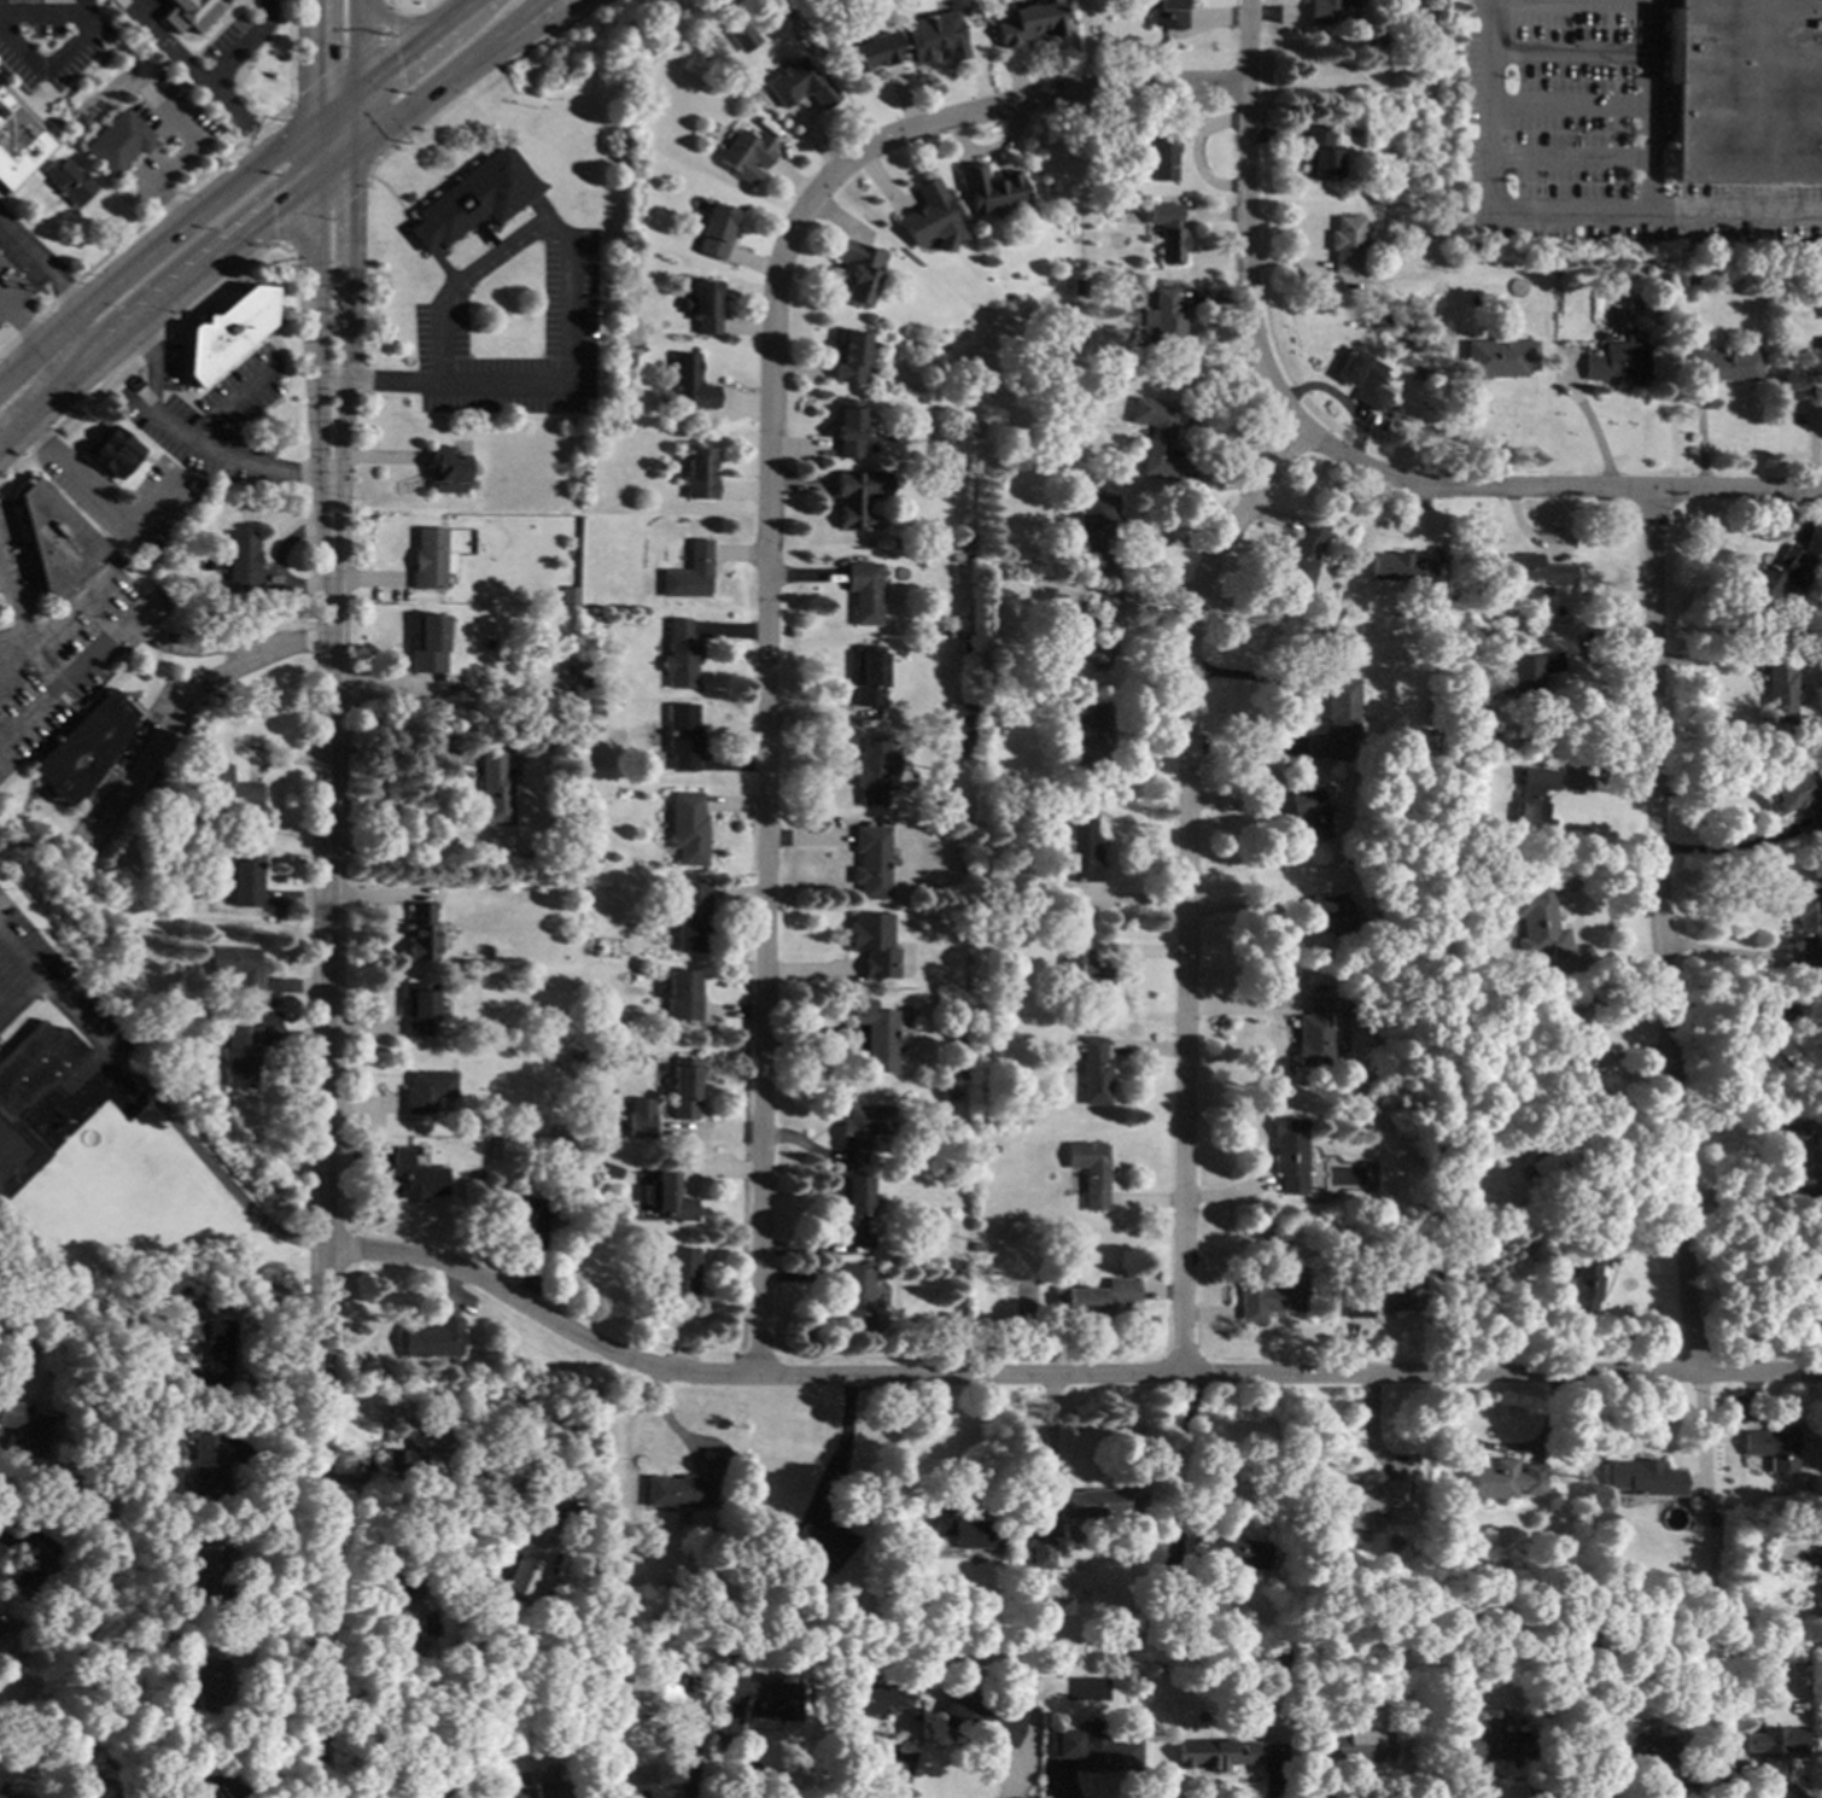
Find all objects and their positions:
road: (78, 6)
building: (1326, 10)
building: (191, 13)
building: (1166, 13)
road: (39, 16)
road: (387, 19)
building: (1027, 23)
road: (415, 24)
road: (508, 29)
road: (529, 33)
building: (742, 36)
building: (935, 36)
building: (1382, 36)
road: (360, 43)
road: (415, 43)
road: (243, 45)
road: (169, 46)
building: (869, 53)
traffic signals: (398, 58)
road: (1566, 58)
road: (311, 60)
road: (48, 62)
road: (334, 71)
road: (1484, 78)
traffic signals: (313, 82)
building: (705, 83)
building: (800, 84)
building: (1745, 92)
road: (346, 98)
road: (358, 101)
road: (413, 104)
road: (1565, 107)
road: (1648, 110)
road: (322, 115)
road: (238, 119)
road: (356, 133)
road: (313, 139)
road: (288, 141)
building: (117, 142)
parking lot: (1604, 142)
building: (17, 144)
building: (1163, 150)
building: (743, 153)
building: (1319, 153)
road: (346, 157)
road: (1565, 158)
road: (369, 163)
road: (313, 168)
road: (325, 173)
building: (69, 180)
building: (1109, 181)
building: (987, 188)
traffic signals: (355, 194)
building: (472, 198)
road: (321, 211)
building: (1026, 211)
traffic signals: (271, 215)
building: (930, 217)
road: (1620, 221)
road: (1246, 222)
building: (1166, 229)
building: (712, 230)
building: (1345, 243)
building: (1652, 261)
road: (40, 268)
road: (129, 269)
building: (857, 270)
building: (1688, 276)
building: (1076, 282)
building: (1659, 291)
building: (1633, 304)
building: (700, 305)
road: (152, 311)
road: (563, 315)
building: (1162, 316)
road: (19, 328)
building: (224, 332)
building: (1698, 341)
road: (273, 343)
road: (348, 350)
road: (134, 352)
building: (848, 356)
building: (1497, 356)
building: (1618, 362)
building: (1725, 363)
building: (1814, 364)
road: (313, 366)
building: (1362, 378)
building: (683, 384)
road: (232, 398)
building: (847, 427)
road: (187, 438)
building: (1155, 438)
building: (111, 450)
building: (443, 469)
building: (697, 472)
road: (1557, 490)
road: (98, 494)
building: (857, 496)
building: (1092, 527)
building: (54, 538)
road: (769, 553)
building: (1302, 554)
building: (427, 559)
building: (241, 561)
building: (1401, 567)
building: (1537, 568)
building: (688, 572)
building: (1777, 576)
building: (864, 591)
building: (568, 594)
building: (1325, 626)
road: (151, 631)
building: (1098, 631)
road: (23, 635)
building: (426, 643)
building: (964, 647)
building: (679, 653)
building: (565, 670)
building: (1529, 675)
building: (868, 676)
building: (586, 683)
building: (1777, 688)
building: (988, 708)
building: (958, 714)
road: (1295, 717)
building: (1336, 719)
building: (1091, 734)
road: (154, 735)
building: (682, 735)
building: (1448, 739)
building: (1430, 740)
building: (958, 743)
building: (82, 747)
road: (395, 761)
building: (875, 769)
building: (495, 783)
building: (227, 788)
road: (1729, 794)
building: (1799, 794)
building: (1531, 799)
building: (1308, 811)
building: (685, 827)
building: (1481, 836)
building: (1384, 840)
building: (1080, 850)
road: (1729, 852)
building: (871, 860)
building: (964, 860)
building: (979, 868)
building: (245, 878)
building: (582, 882)
building: (1390, 882)
road: (1187, 887)
road: (325, 900)
building: (1332, 912)
building: (689, 915)
building: (958, 917)
building: (982, 922)
building: (1537, 922)
building: (1806, 924)
building: (420, 932)
road: (1660, 932)
building: (874, 942)
building: (518, 951)
road: (21, 963)
building: (236, 964)
building: (1082, 964)
building: (633, 976)
building: (1377, 993)
building: (681, 994)
road: (54, 1002)
building: (419, 1008)
building: (605, 1033)
building: (877, 1033)
building: (1312, 1033)
building: (1564, 1038)
building: (1800, 1046)
building: (240, 1055)
building: (1093, 1070)
building: (962, 1072)
building: (683, 1087)
building: (426, 1090)
building: (940, 1093)
building: (28, 1097)
building: (586, 1115)
building: (638, 1119)
building: (864, 1123)
building: (1425, 1138)
building: (992, 1148)
building: (1557, 1148)
building: (1289, 1152)
building: (1801, 1158)
road: (206, 1166)
building: (611, 1169)
building: (1090, 1171)
building: (415, 1175)
building: (666, 1196)
building: (853, 1202)
building: (521, 1212)
building: (561, 1215)
building: (1265, 1226)
building: (1429, 1238)
building: (976, 1247)
building: (954, 1263)
building: (677, 1271)
building: (1583, 1280)
building: (1806, 1280)
building: (1382, 1291)
building: (1271, 1294)
building: (855, 1295)
building: (1099, 1298)
building: (433, 1338)
building: (216, 1352)
building: (510, 1365)
road: (1058, 1374)
building: (25, 1426)
road: (699, 1444)
building: (1771, 1446)
road: (1502, 1447)
road: (842, 1450)
road: (895, 1452)
building: (399, 1461)
building: (206, 1470)
building: (436, 1477)
building: (1643, 1477)
building: (1497, 1478)
building: (677, 1490)
building: (148, 1496)
building: (570, 1499)
building: (1365, 1499)
building: (1098, 1502)
road: (398, 1517)
building: (571, 1518)
road: (320, 1524)
building: (957, 1531)
road: (10, 1543)
building: (821, 1543)
building: (892, 1543)
building: (1820, 1543)
building: (878, 1549)
building: (1228, 1551)
building: (1040, 1552)
building: (208, 1563)
building: (526, 1570)
building: (30, 1571)
building: (421, 1580)
building: (1821, 1587)
building: (1173, 1594)
building: (82, 1617)
building: (8, 1625)
building: (0, 1627)
building: (1732, 1627)
building: (407, 1628)
building: (0, 1629)
building: (1050, 1658)
building: (1279, 1658)
building: (696, 1660)
building: (1746, 1674)
building: (1563, 1682)
building: (208, 1685)
building: (646, 1689)
building: (765, 1697)
building: (871, 1698)
road: (679, 1711)
building: (983, 1716)
building: (1251, 1724)
building: (1634, 1739)
building: (1500, 1740)
building: (1771, 1741)
building: (1350, 1745)
building: (1097, 1749)
building: (1216, 1753)
road: (748, 1765)
road: (899, 1773)
road: (1006, 1782)
road: (1274, 1782)
building: (425, 1786)
road: (1532, 1787)
road: (1669, 1787)
building: (210, 1788)
building: (542, 1790)
road: (1062, 1790)
road: (1327, 1790)
building: (95, 1793)
building: (2, 1797)

